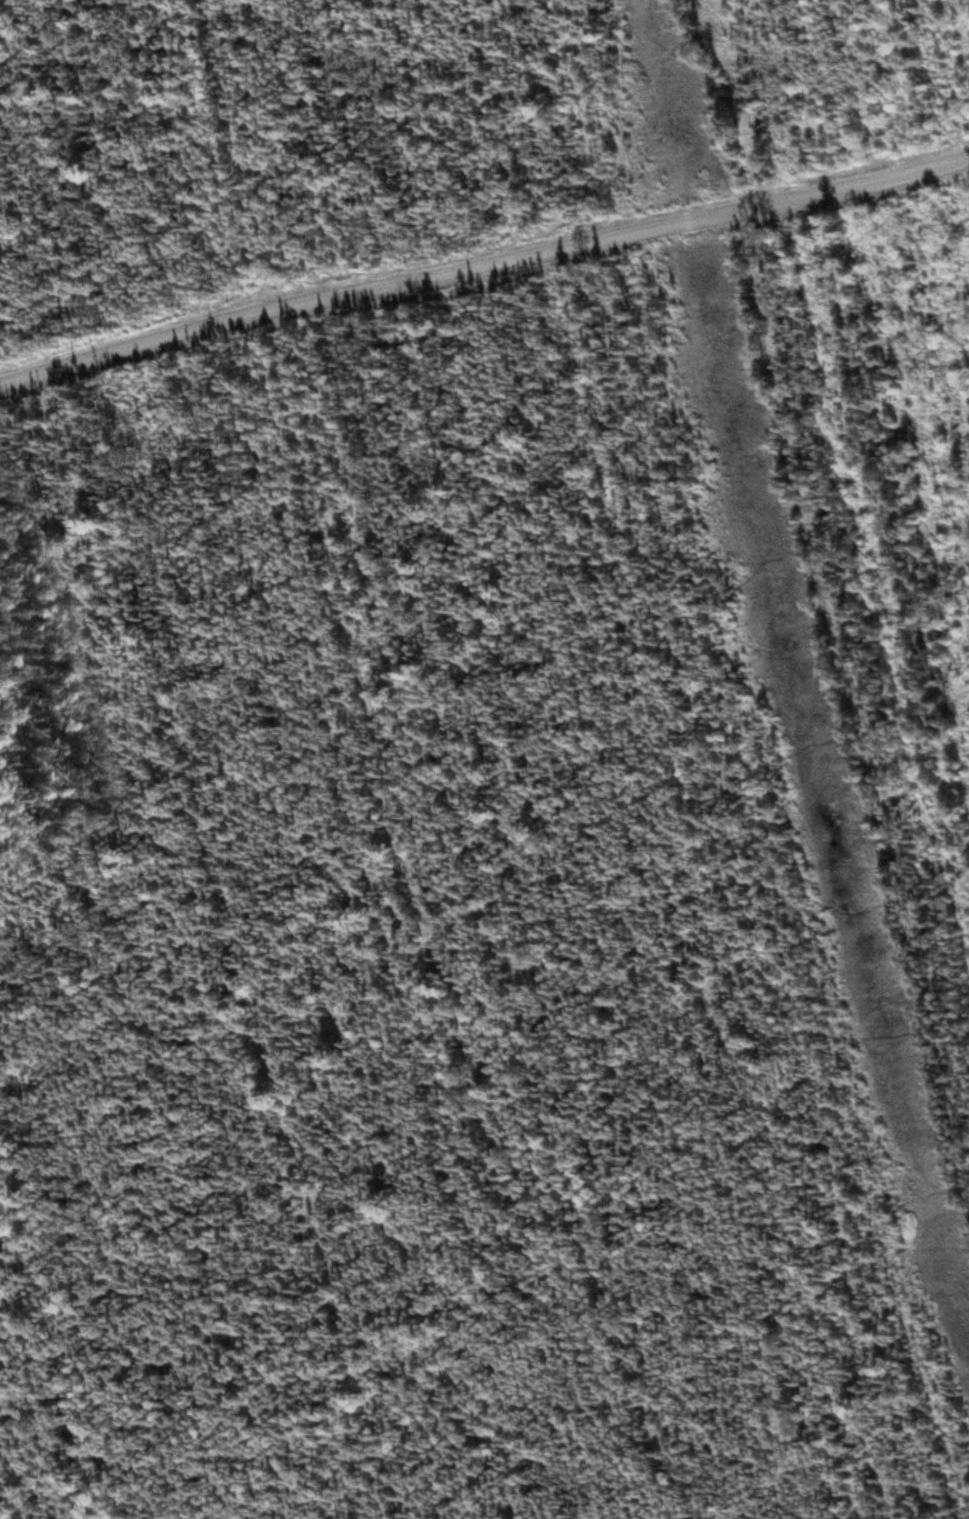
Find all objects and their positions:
road: (482, 261)

